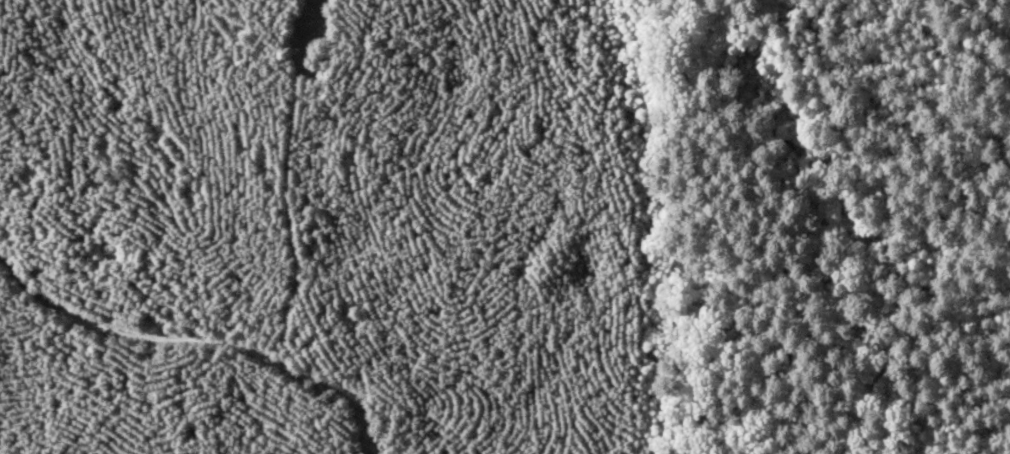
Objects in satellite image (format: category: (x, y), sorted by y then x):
road: (216, 374)

